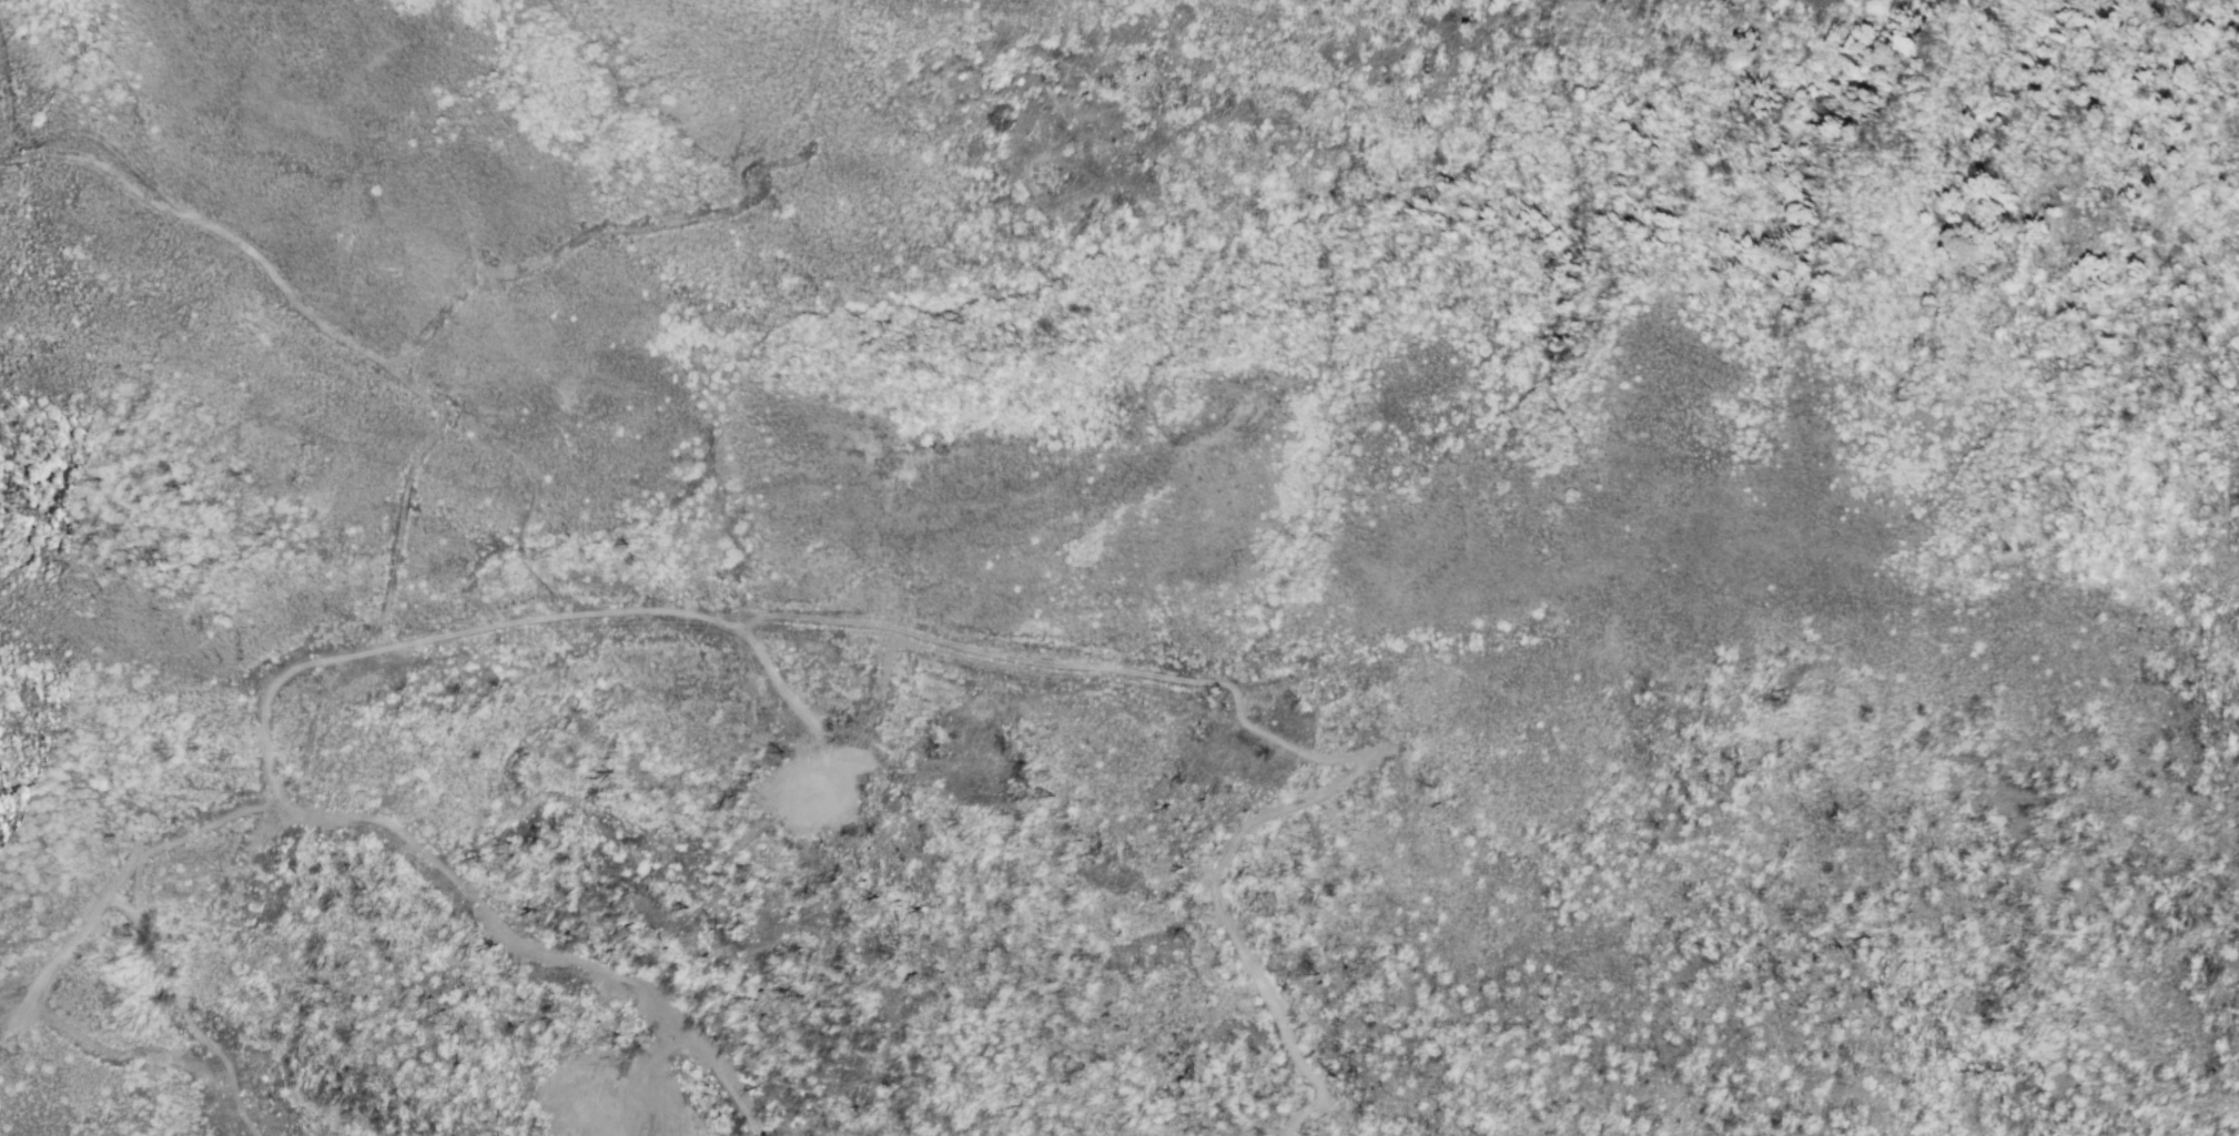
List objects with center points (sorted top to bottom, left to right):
road: (563, 254)
road: (564, 597)
road: (377, 655)
road: (372, 815)
road: (102, 1043)

